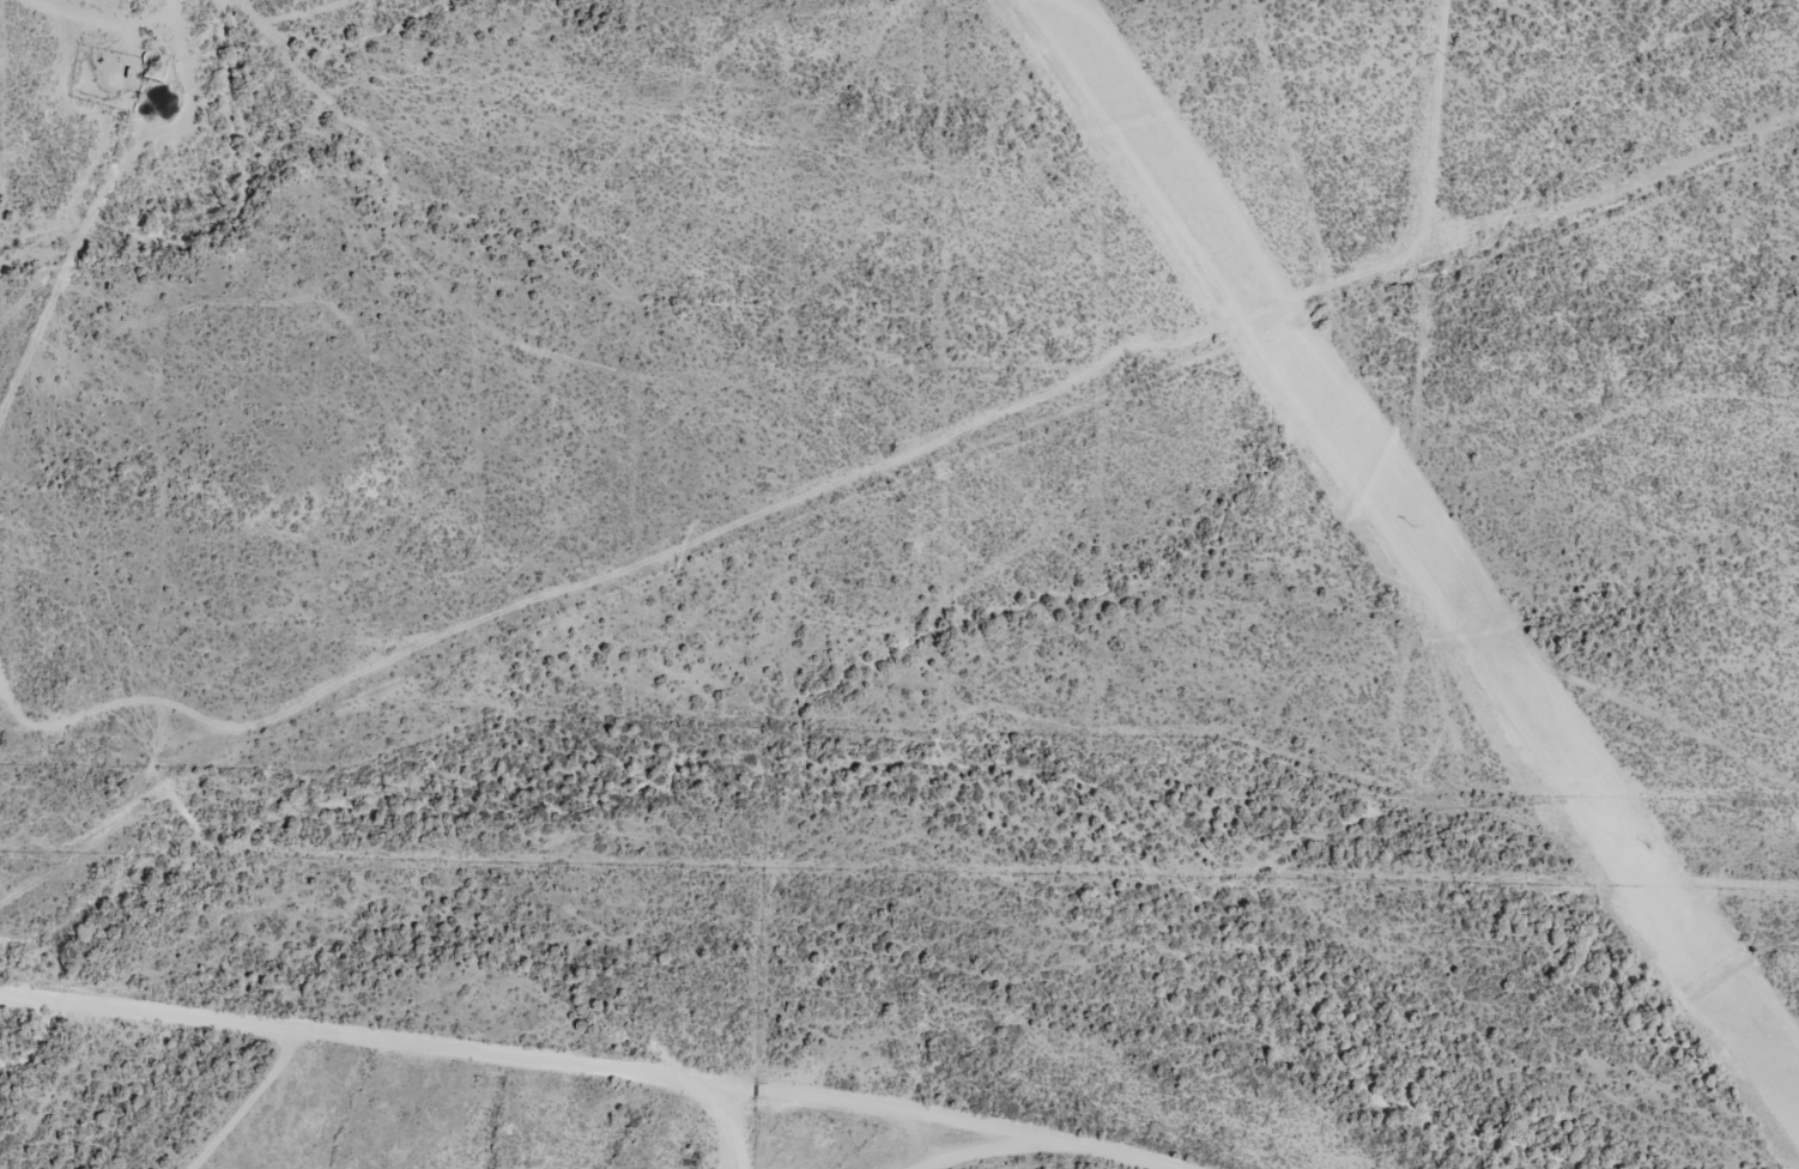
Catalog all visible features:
road: (509, 1076)

